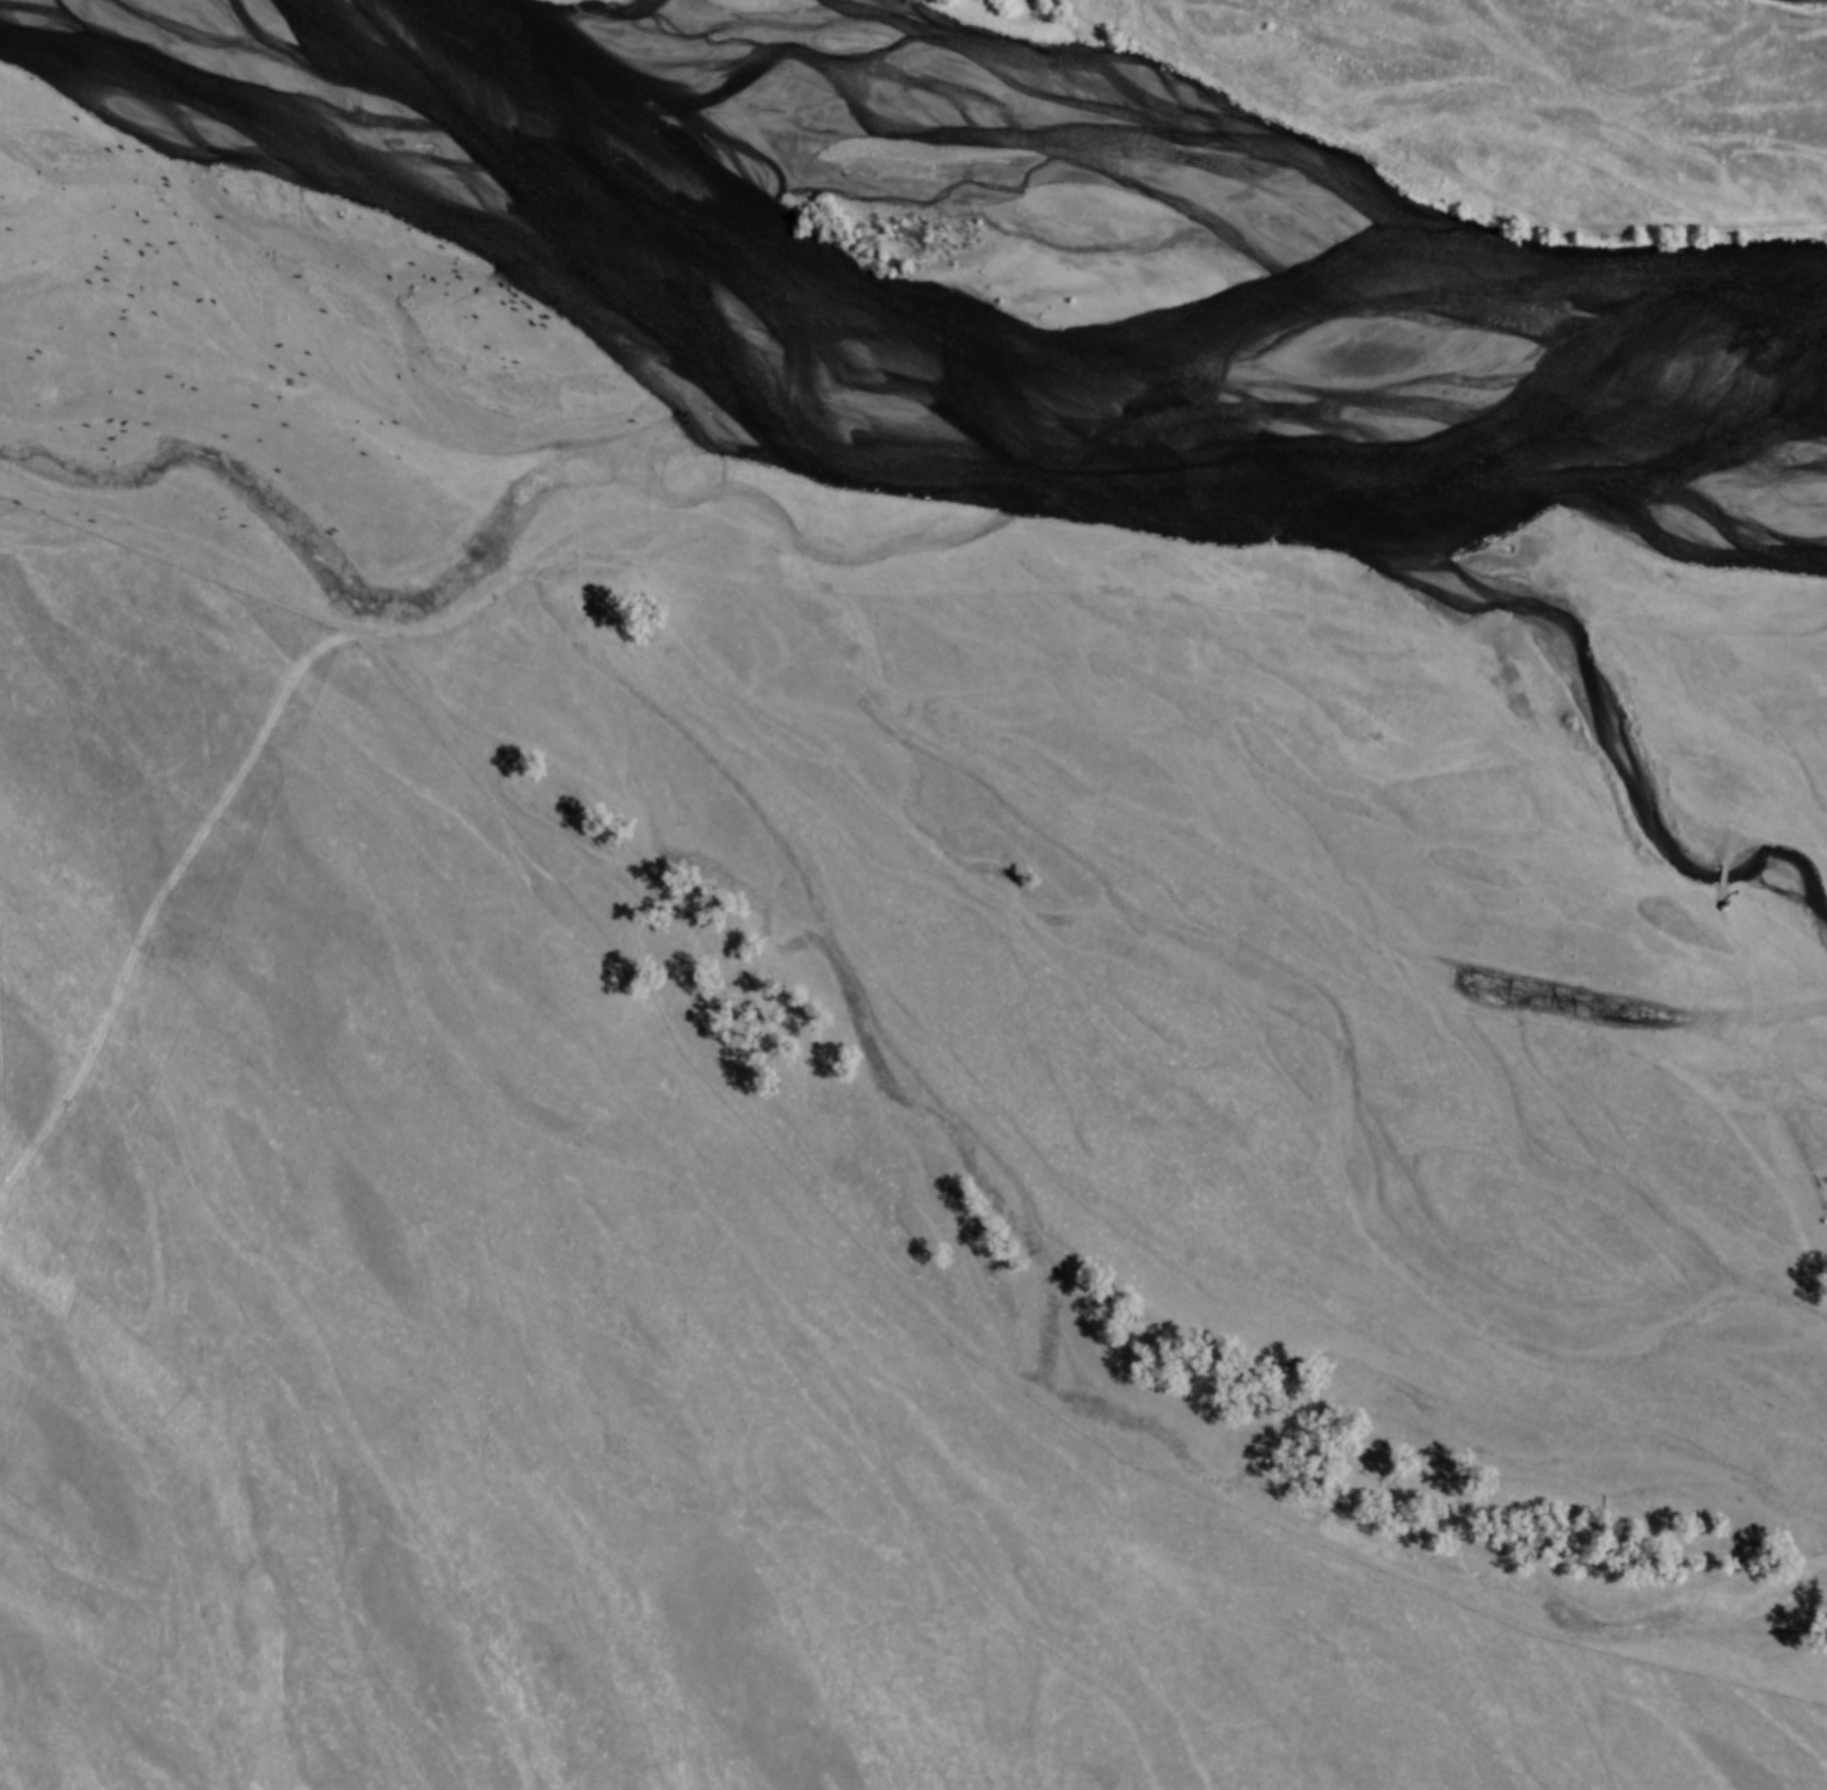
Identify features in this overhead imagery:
river: (1021, 356)

